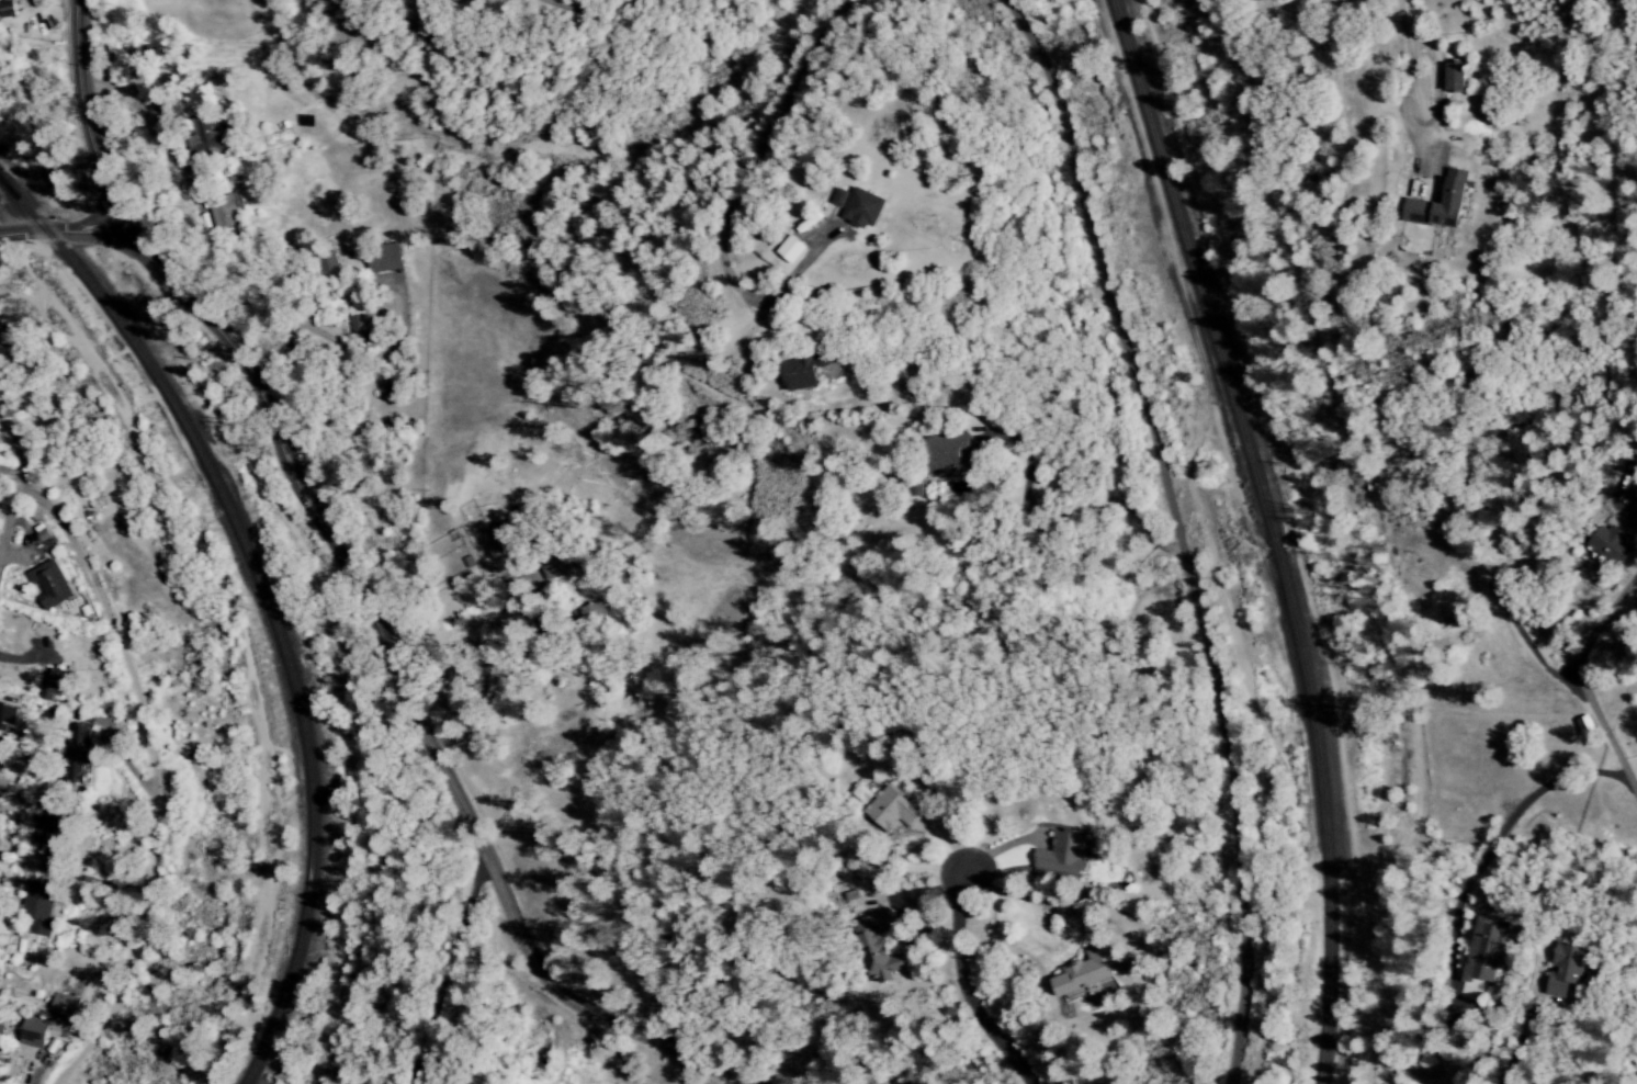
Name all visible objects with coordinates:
road: (845, 3)
building: (7, 9)
building: (1457, 76)
road: (1436, 83)
road: (1402, 99)
road: (83, 110)
road: (758, 151)
building: (849, 197)
building: (1443, 204)
building: (873, 207)
building: (221, 211)
road: (61, 234)
building: (799, 249)
building: (384, 258)
building: (325, 267)
building: (358, 318)
road: (4, 447)
road: (41, 505)
road: (8, 516)
road: (1178, 530)
railway: (1273, 532)
building: (503, 535)
building: (1613, 543)
building: (50, 585)
railway: (266, 600)
building: (594, 613)
road: (334, 646)
road: (239, 671)
building: (53, 685)
road: (397, 686)
road: (1584, 689)
building: (8, 720)
road: (455, 736)
road: (125, 750)
building: (82, 755)
building: (3, 766)
building: (894, 811)
road: (154, 831)
building: (1068, 856)
road: (88, 880)
building: (39, 908)
building: (880, 948)
building: (1487, 962)
road: (441, 967)
building: (1580, 971)
building: (1086, 974)
road: (961, 987)
building: (67, 1008)
building: (1, 1035)
building: (34, 1035)

